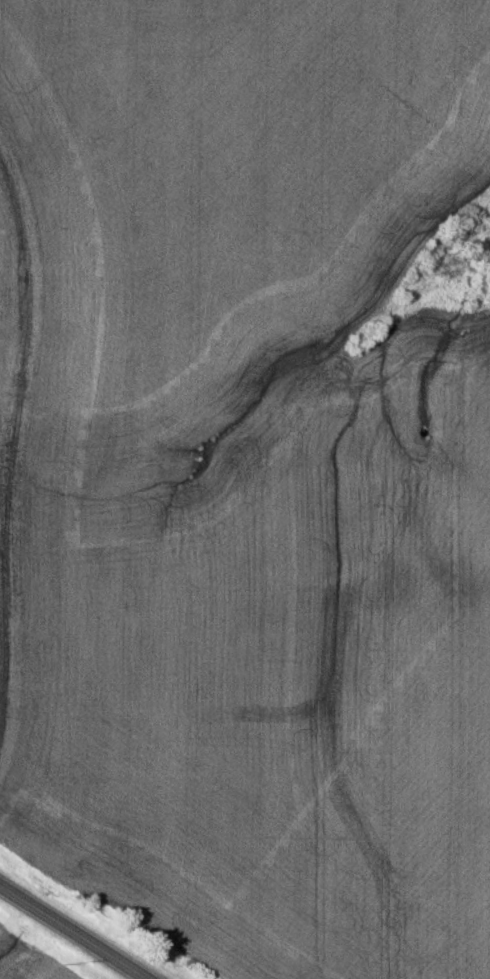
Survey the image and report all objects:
road: (75, 932)

